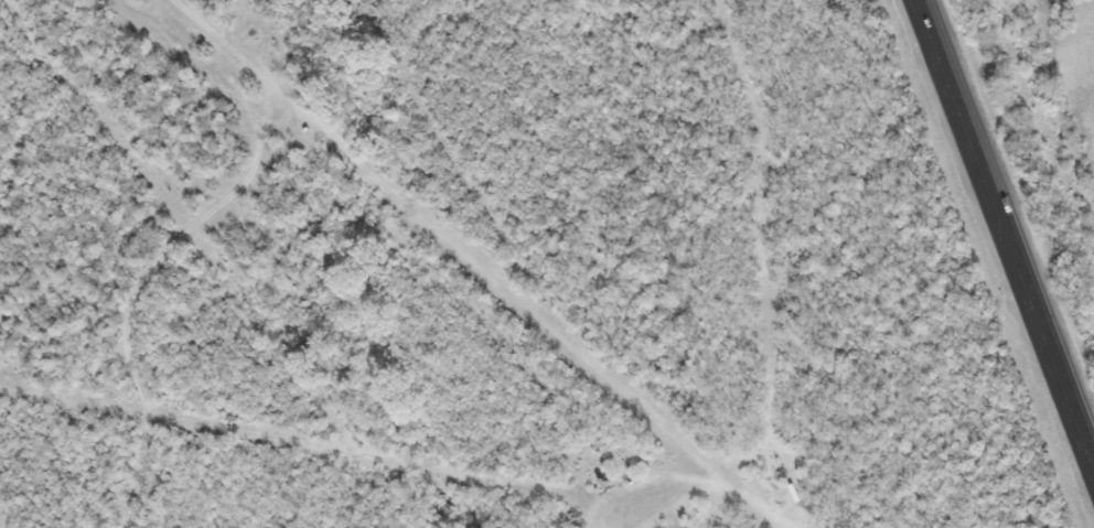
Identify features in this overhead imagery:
road: (1007, 230)
road: (684, 479)
road: (675, 505)

